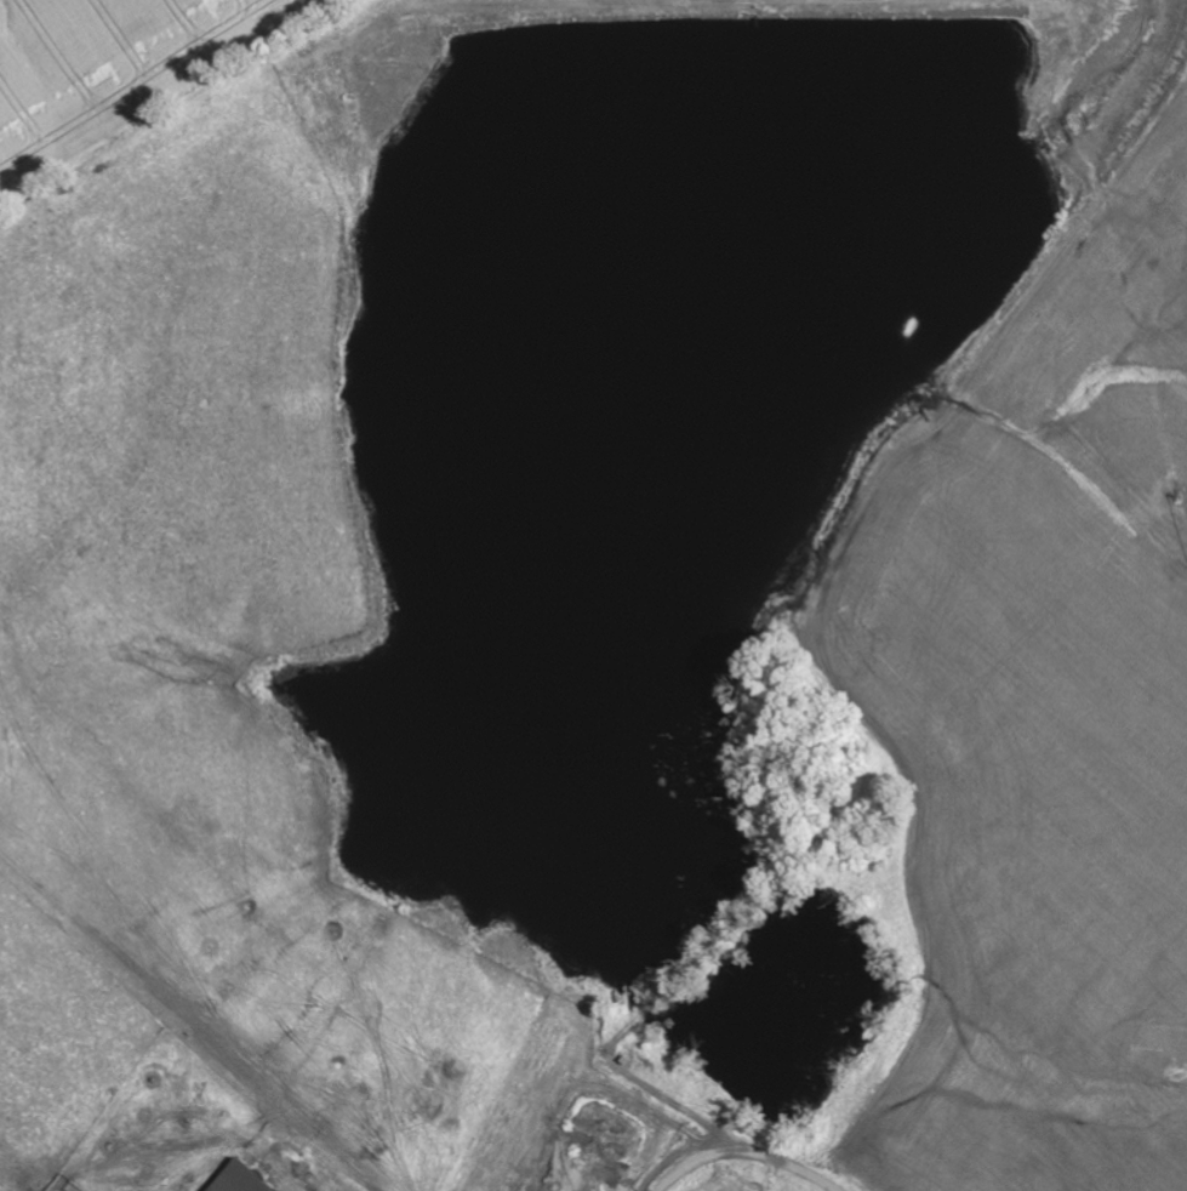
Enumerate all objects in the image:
building: (240, 1180)

